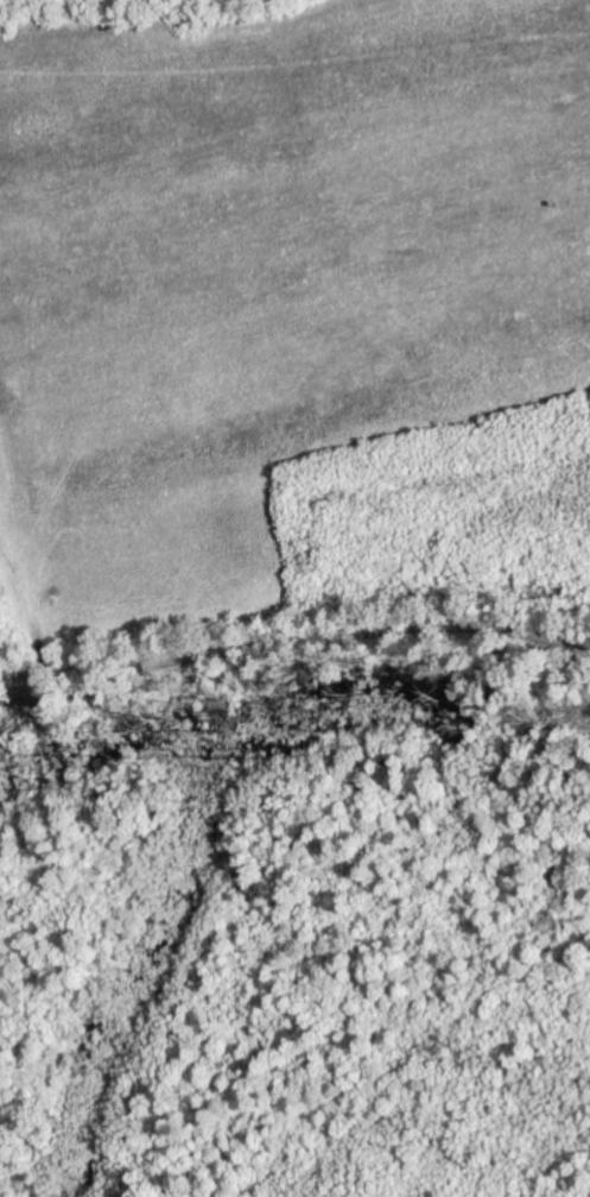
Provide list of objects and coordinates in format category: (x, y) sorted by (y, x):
road: (294, 636)

